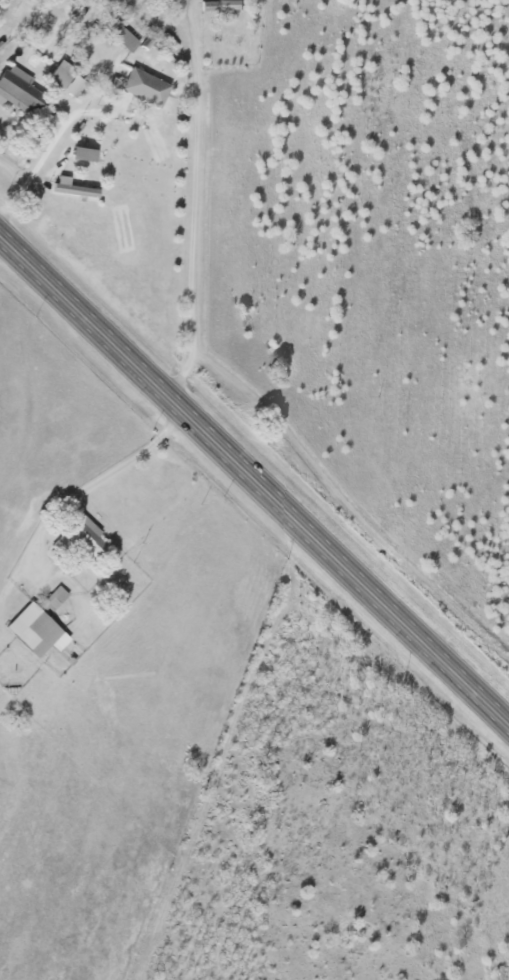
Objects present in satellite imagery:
building: (223, 5)
building: (123, 39)
building: (64, 82)
building: (144, 88)
building: (19, 94)
road: (50, 147)
building: (82, 156)
road: (194, 203)
road: (96, 481)
road: (254, 483)
road: (433, 527)
building: (78, 539)
building: (55, 599)
building: (33, 631)
road: (269, 741)

